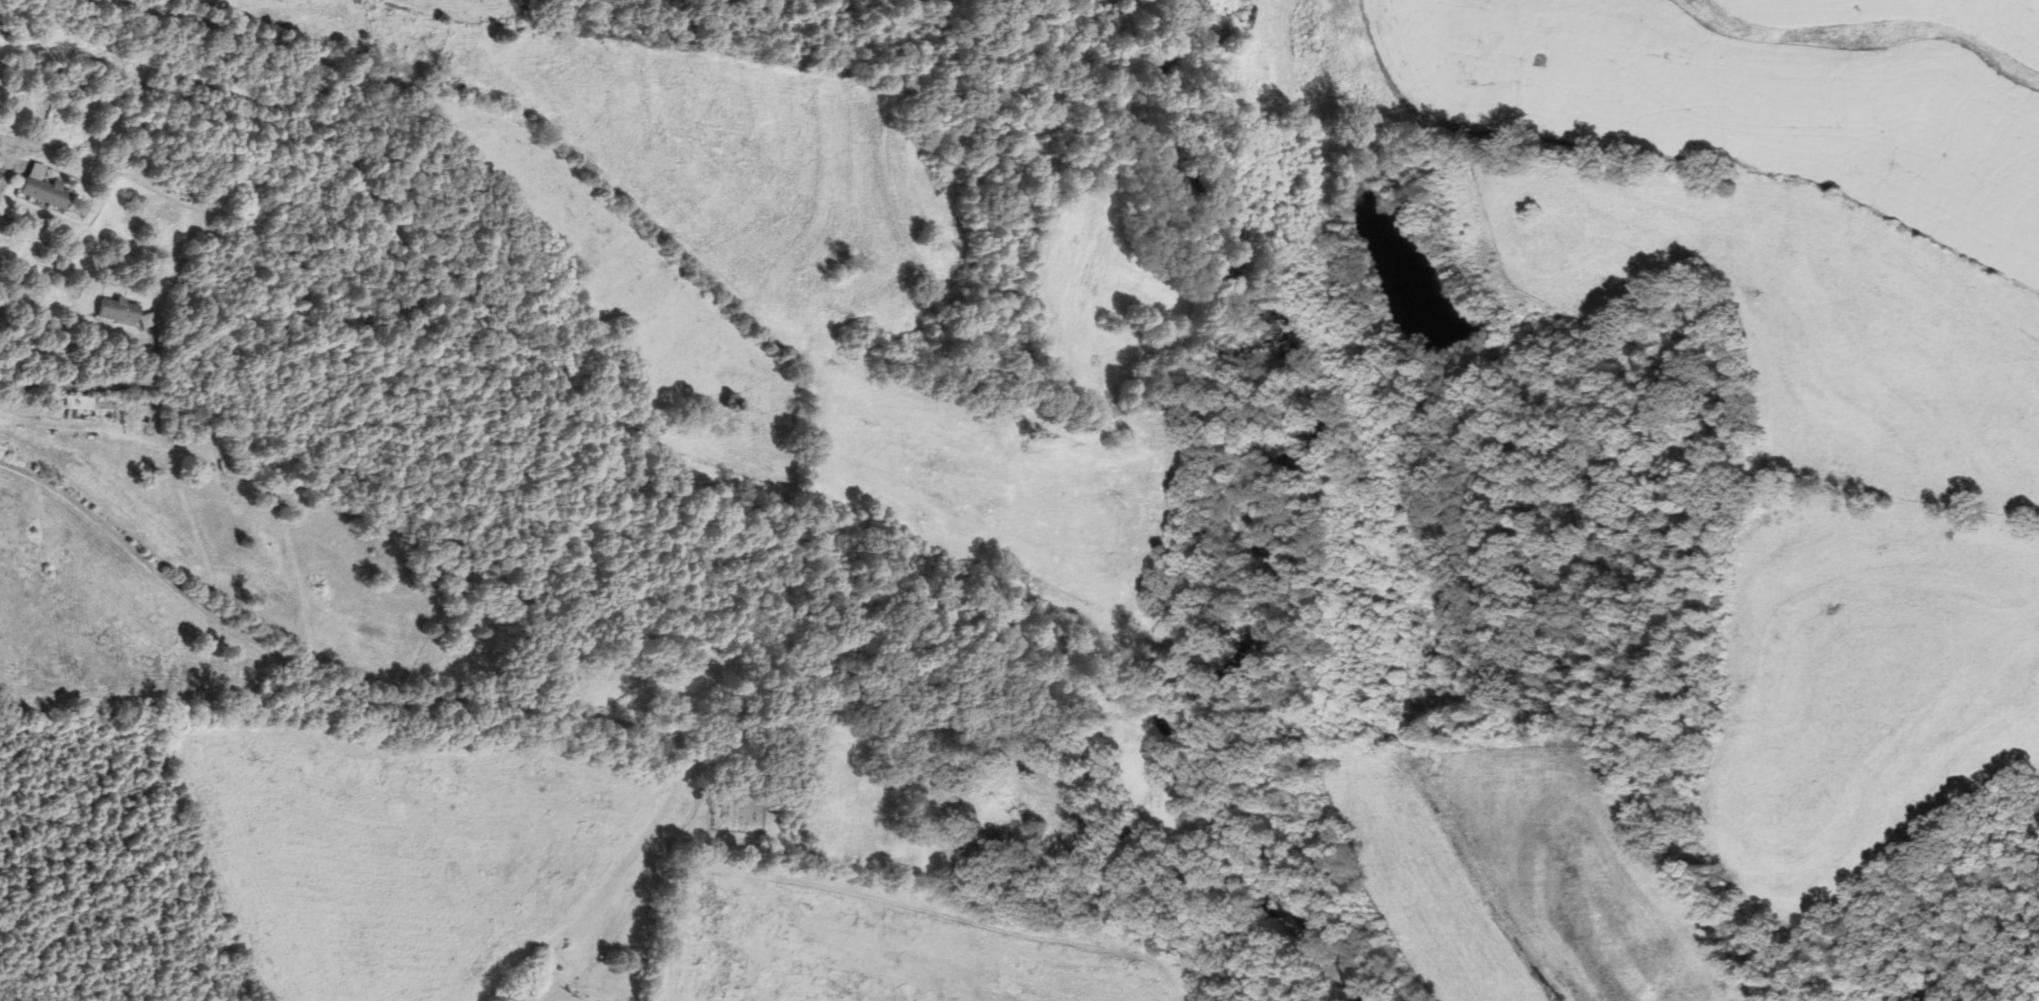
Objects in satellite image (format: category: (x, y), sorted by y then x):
road: (5, 180)
building: (38, 187)
building: (118, 311)
road: (417, 703)
park: (738, 810)

